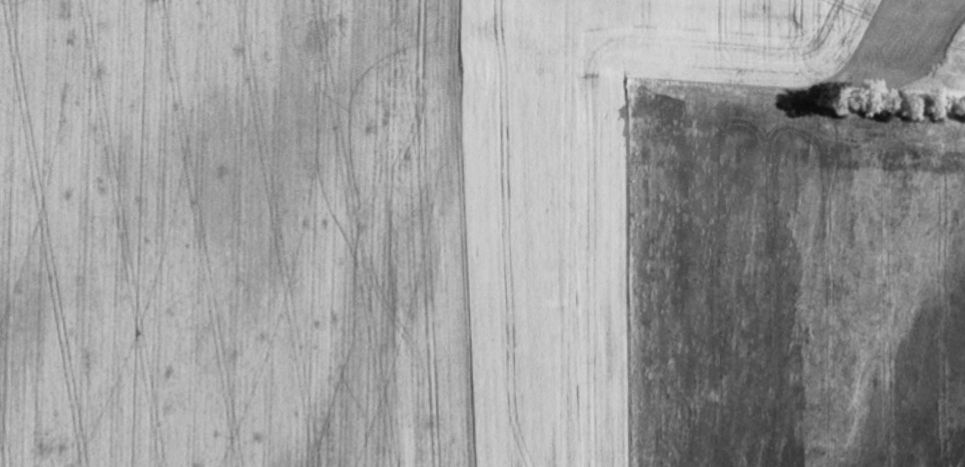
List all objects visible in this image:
road: (501, 233)

